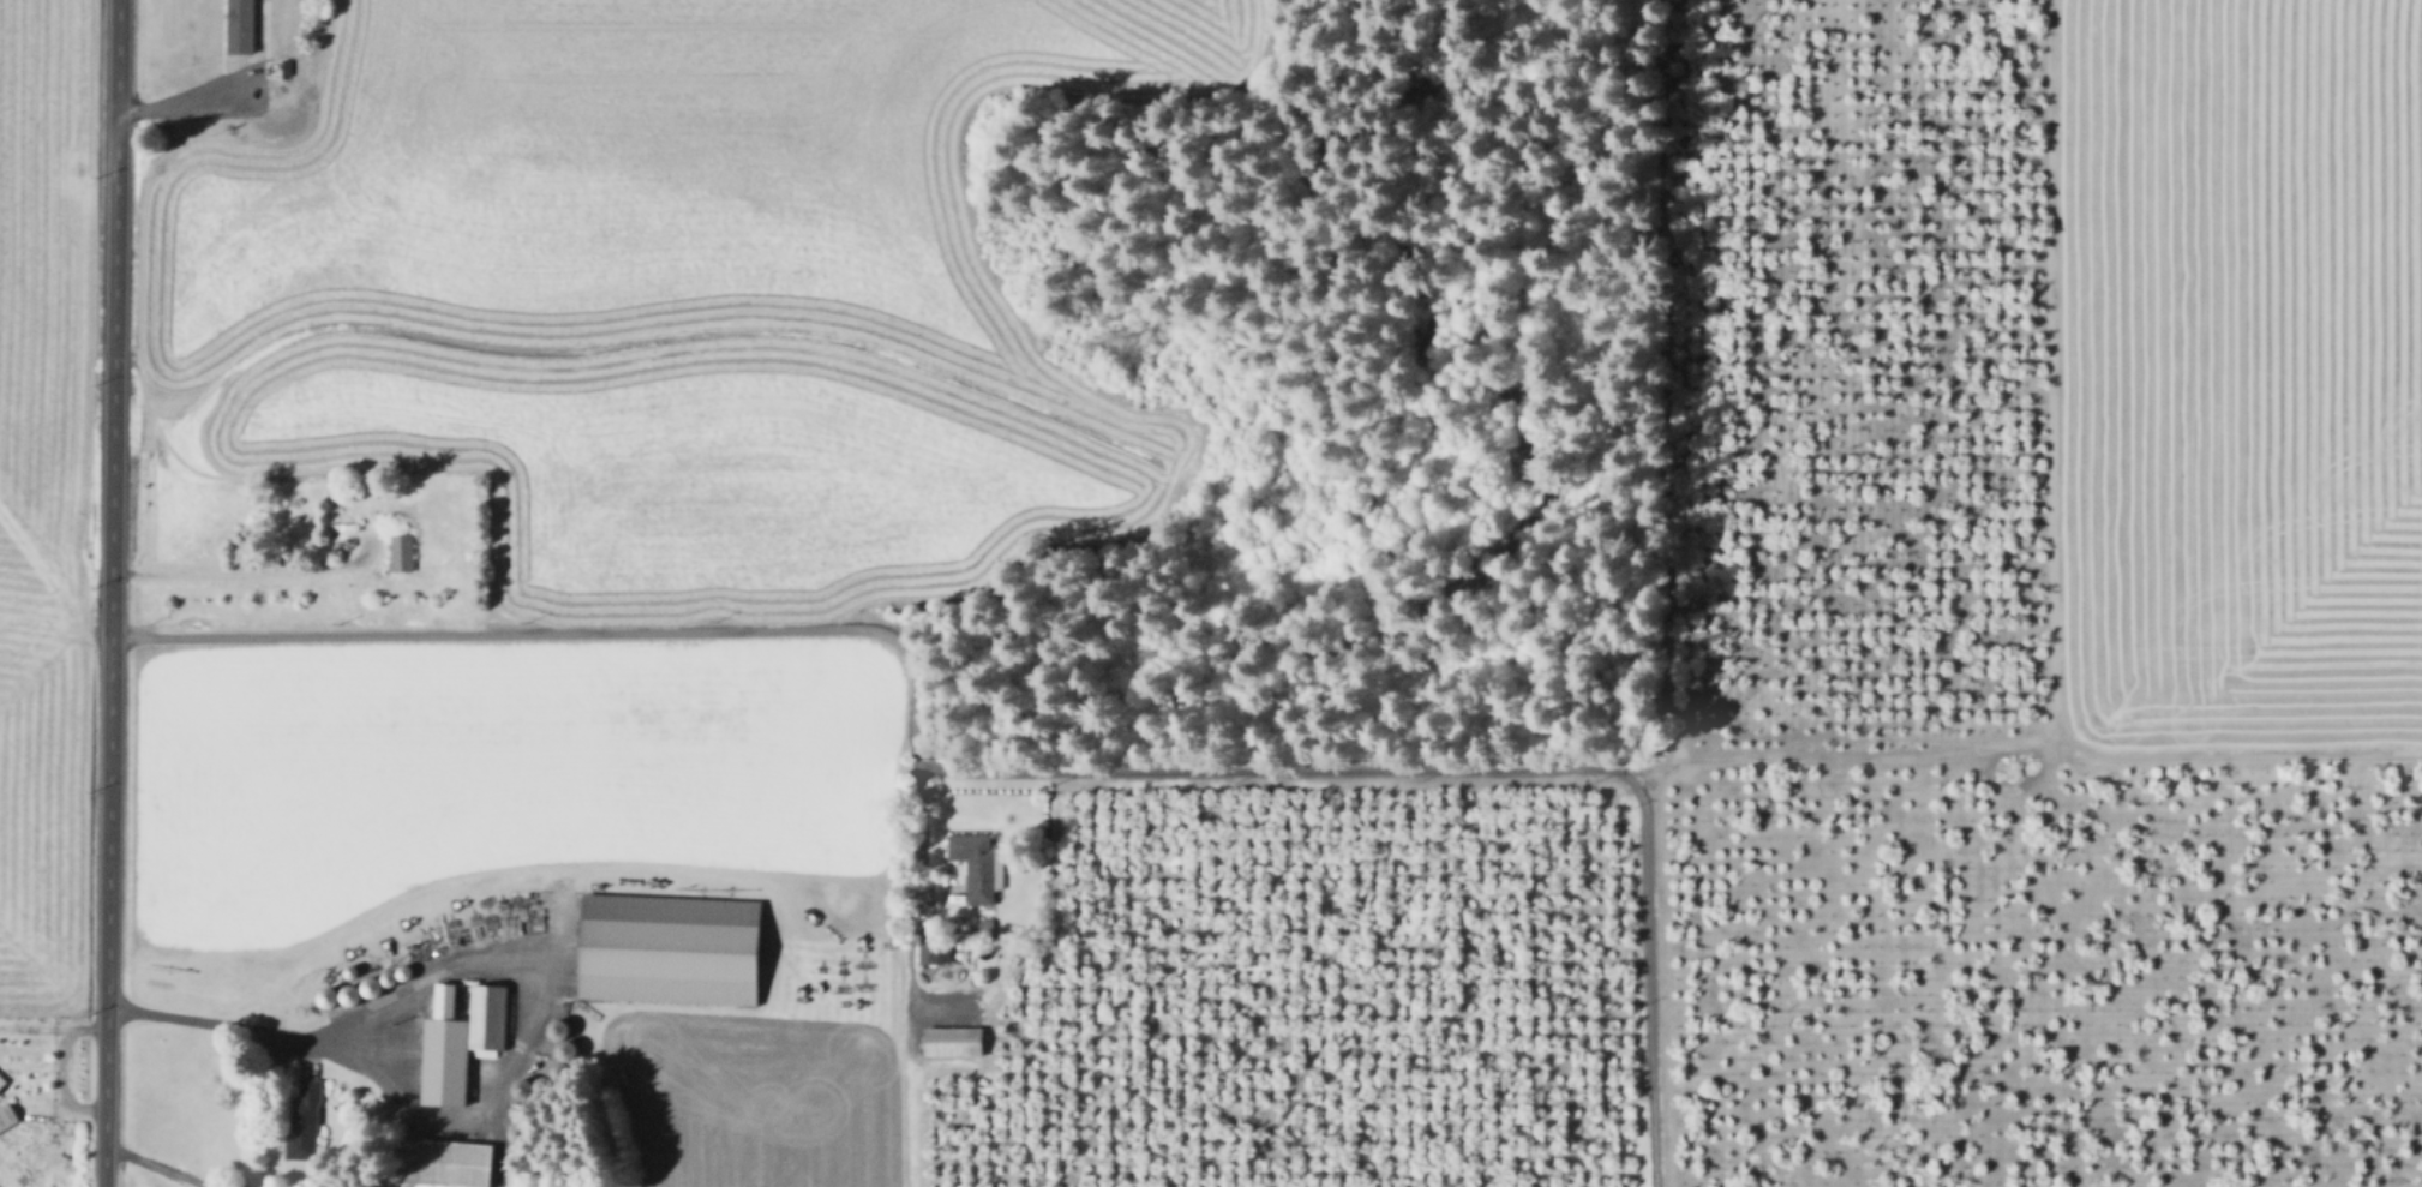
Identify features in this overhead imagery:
building: (245, 29)
building: (290, 70)
road: (246, 78)
crop: (2243, 373)
crop: (42, 492)
building: (403, 553)
road: (242, 569)
road: (110, 593)
road: (2019, 760)
road: (1015, 783)
building: (978, 865)
road: (895, 879)
building: (671, 949)
building: (930, 953)
road: (518, 958)
building: (346, 971)
silo: (346, 971)
building: (400, 972)
silo: (400, 972)
building: (383, 977)
silo: (383, 977)
building: (366, 988)
silo: (366, 988)
building: (346, 996)
silo: (346, 996)
building: (322, 997)
silo: (322, 997)
road: (53, 1024)
building: (551, 1030)
silo: (551, 1030)
building: (461, 1041)
building: (947, 1042)
road: (343, 1045)
building: (562, 1050)
silo: (562, 1050)
building: (556, 1072)
silo: (556, 1072)
building: (2, 1081)
road: (60, 1084)
building: (517, 1087)
silo: (517, 1087)
building: (541, 1087)
silo: (541, 1087)
road: (911, 1097)
building: (515, 1109)
silo: (515, 1109)
building: (7, 1117)
building: (305, 1121)
building: (515, 1133)
silo: (515, 1133)
building: (450, 1163)
road: (156, 1165)

